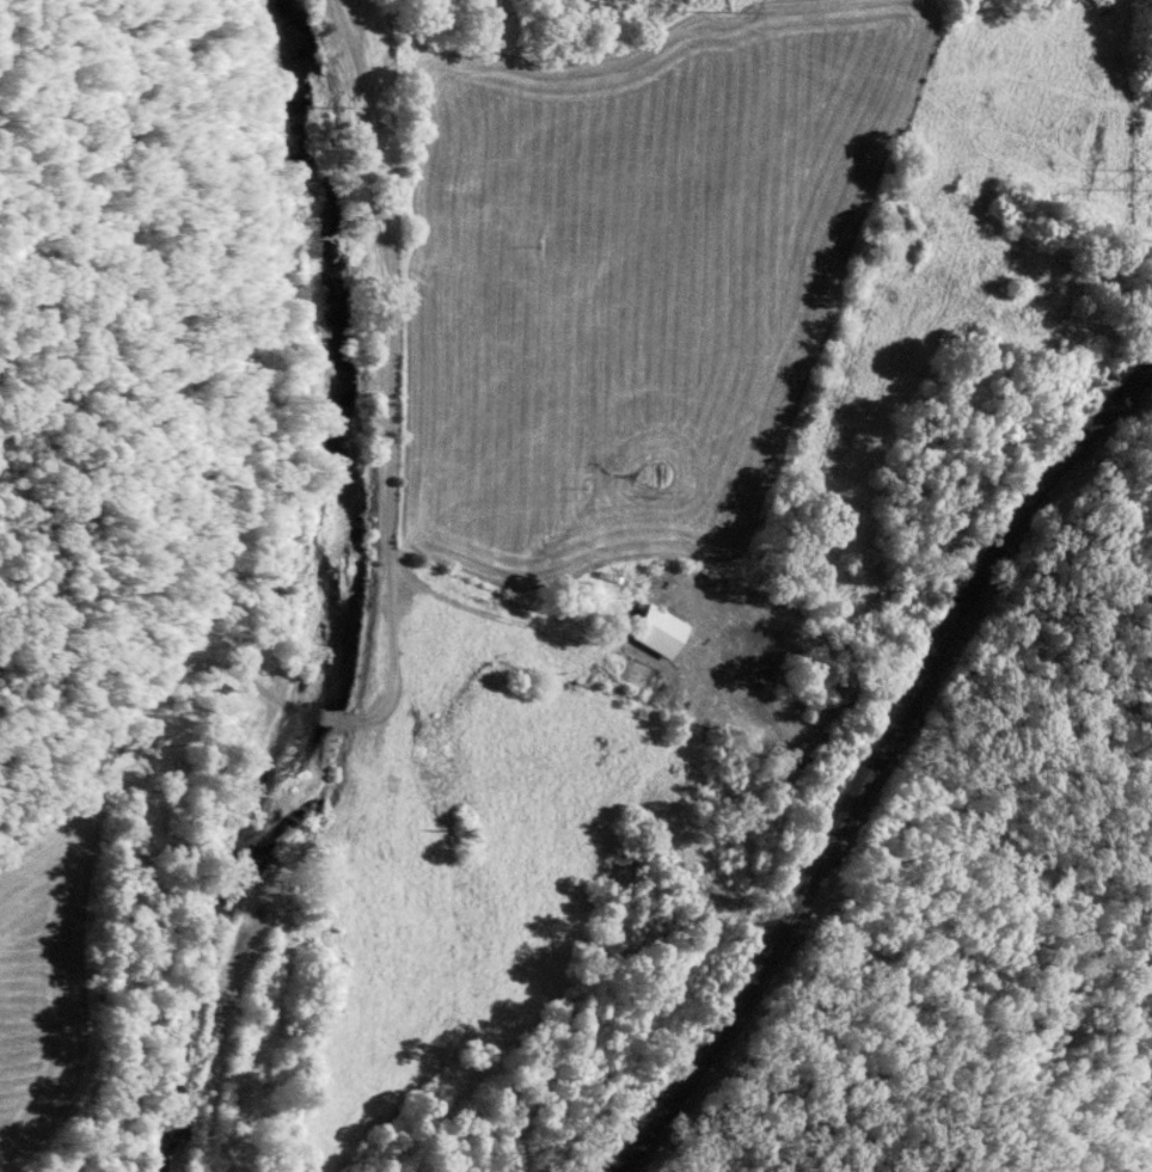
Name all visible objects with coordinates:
power tower: (735, 6)
road: (392, 587)
road: (480, 610)
building: (660, 631)
railway: (877, 766)

